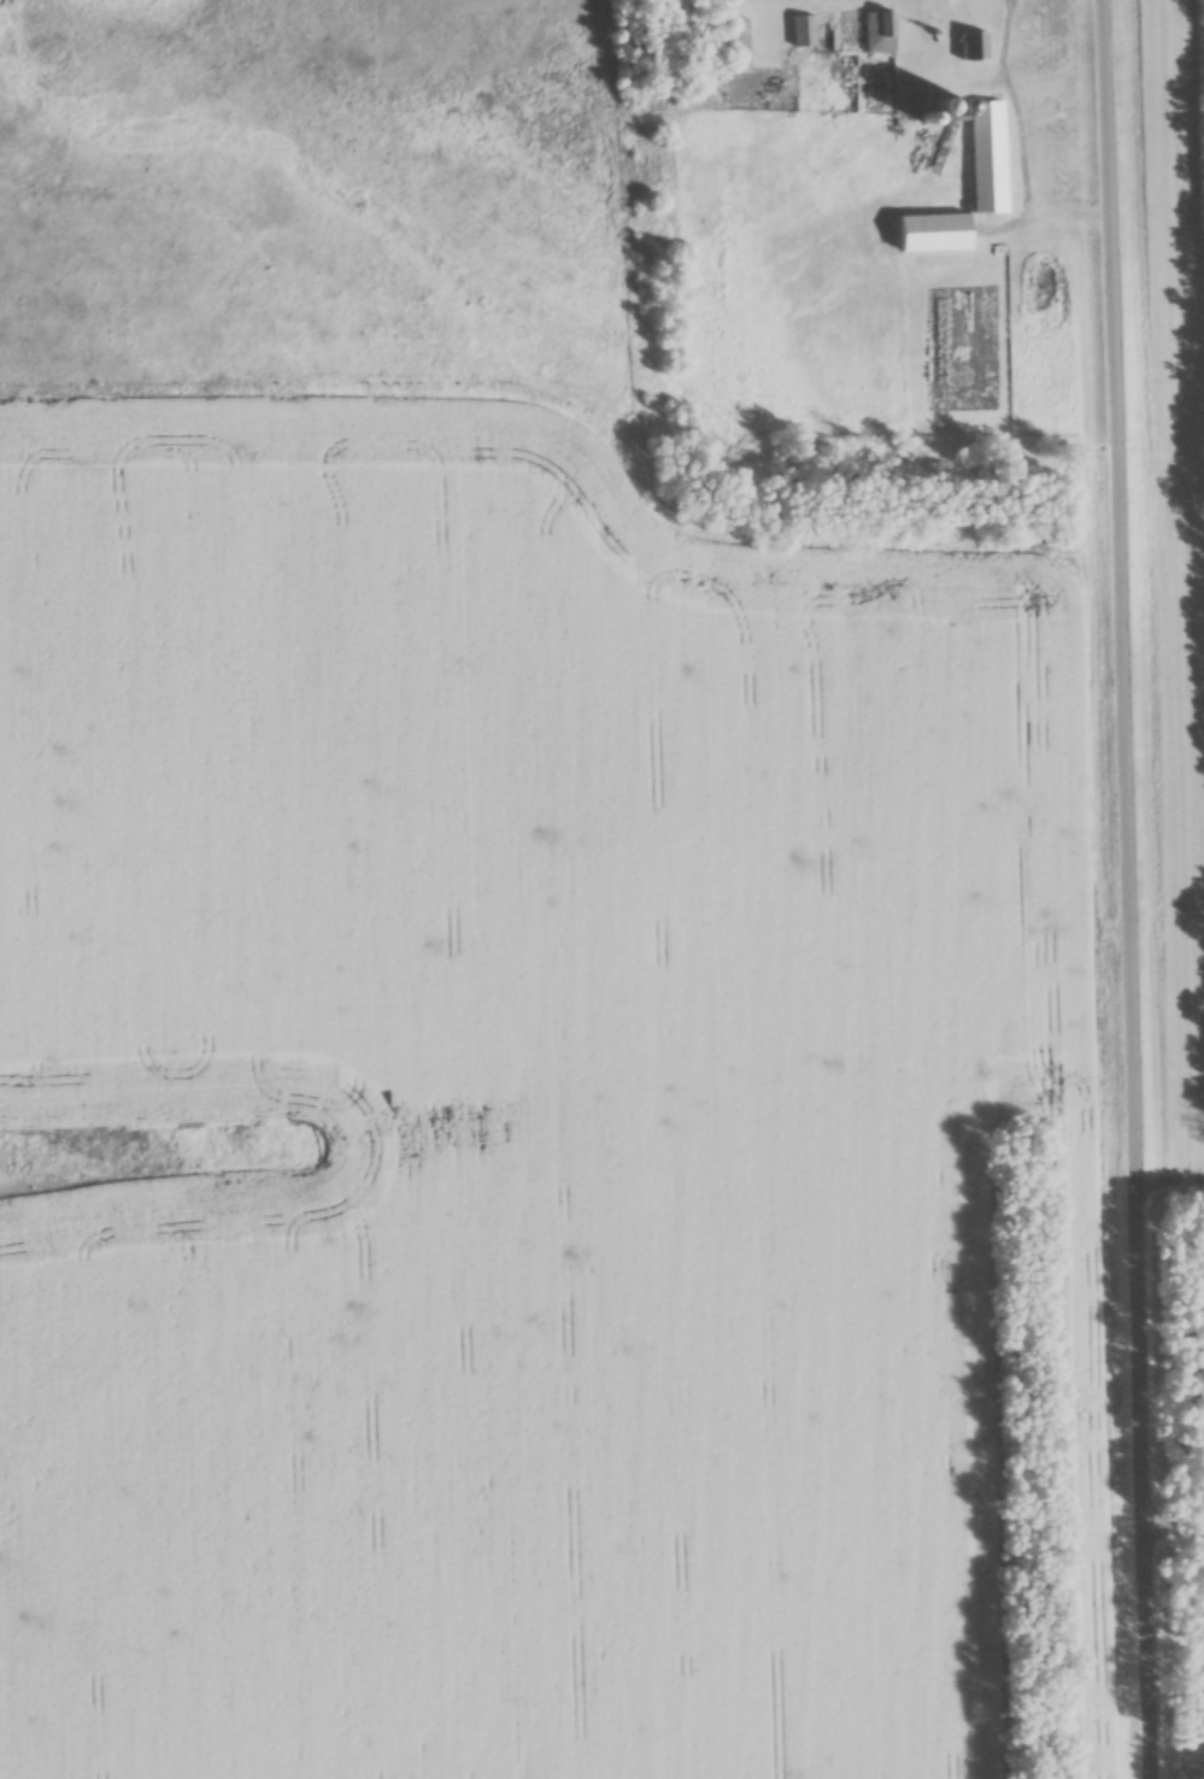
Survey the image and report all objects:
building: (803, 31)
building: (879, 33)
building: (738, 46)
building: (975, 47)
building: (908, 93)
road: (1023, 136)
building: (982, 149)
building: (934, 234)
road: (1130, 888)
road: (1176, 1528)

